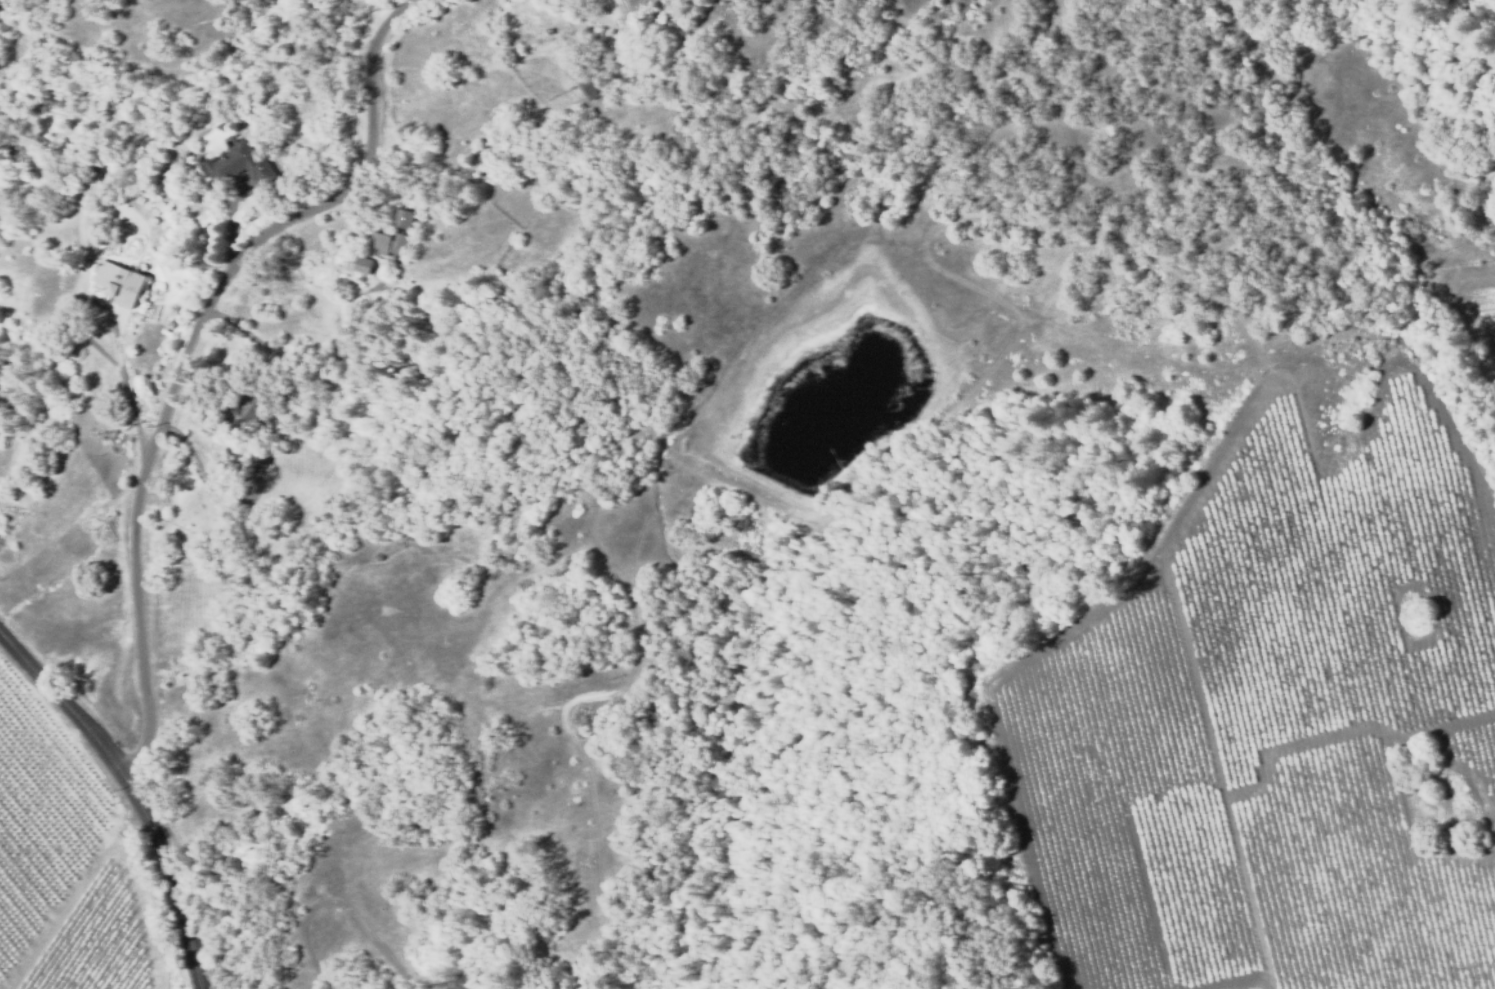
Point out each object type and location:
building: (632, 9)
building: (585, 82)
building: (239, 164)
building: (93, 178)
building: (394, 235)
building: (362, 263)
building: (119, 282)
road: (181, 361)
building: (248, 410)
road: (131, 794)

